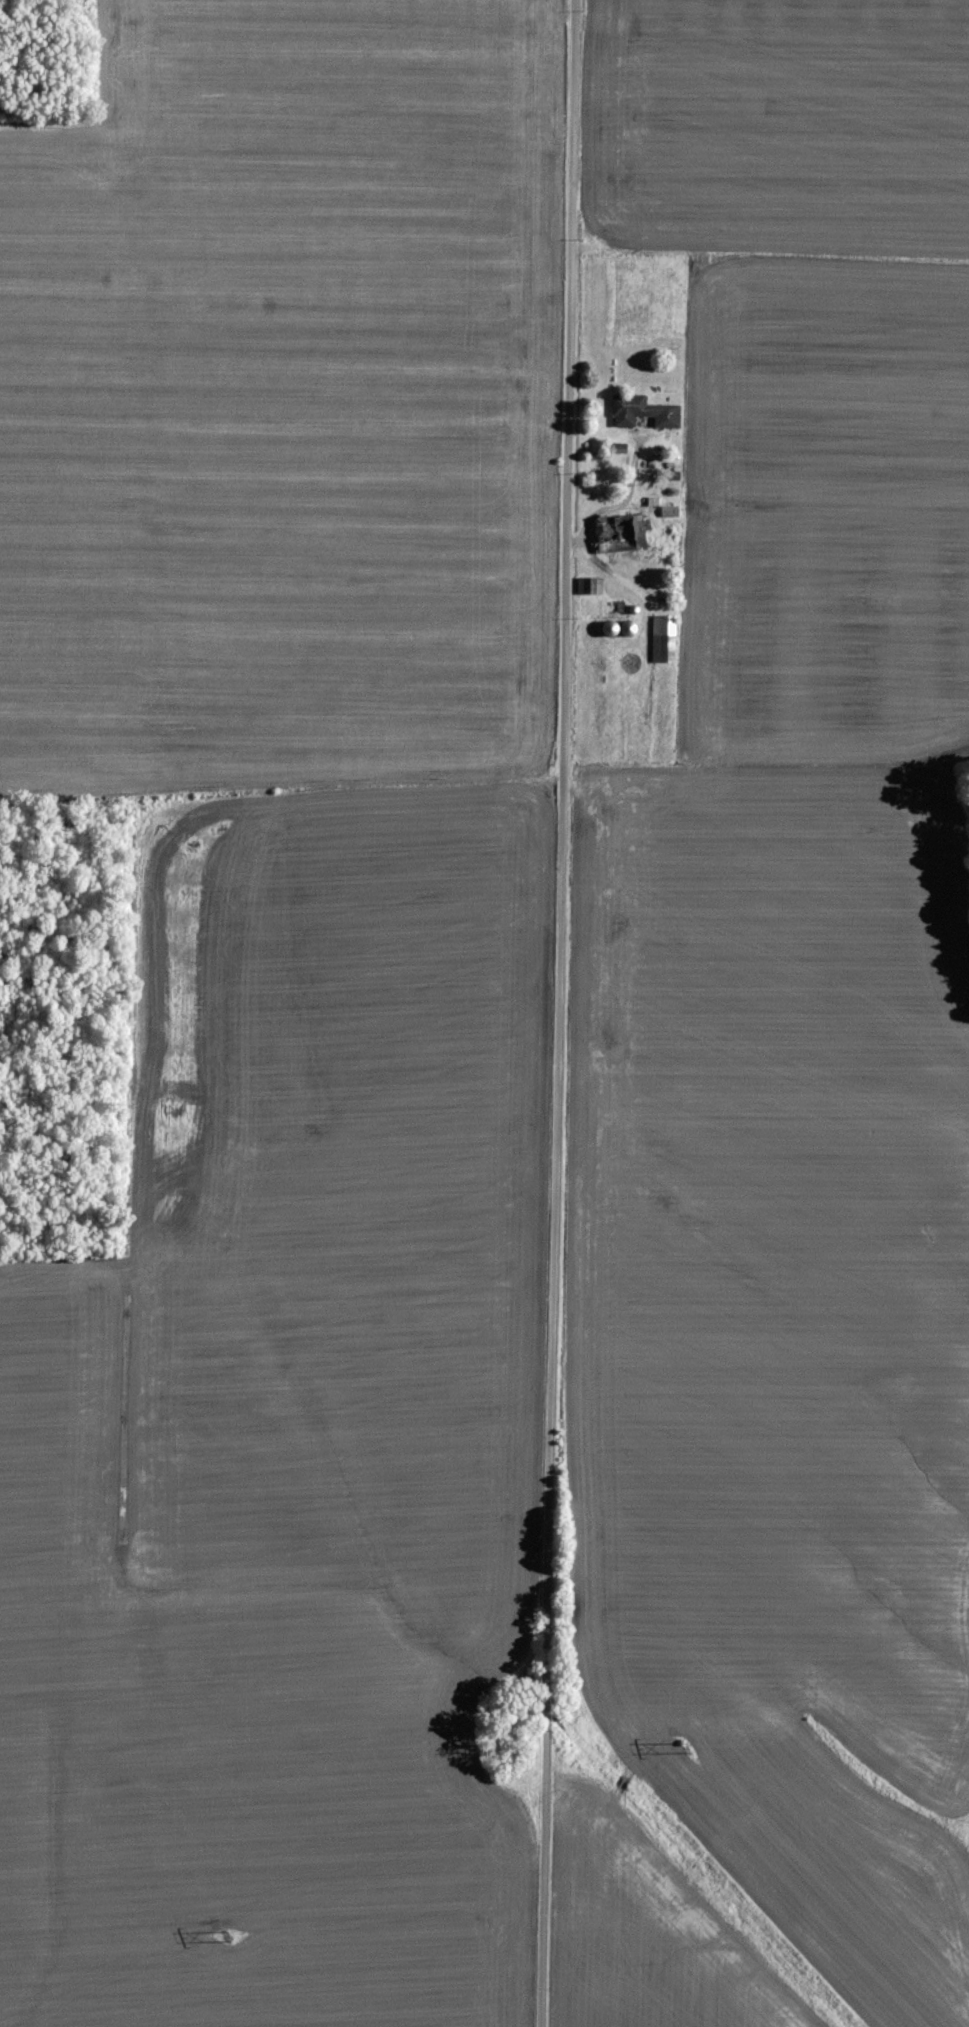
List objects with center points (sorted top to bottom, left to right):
building: (647, 411)
building: (614, 527)
building: (665, 637)
road: (558, 1013)

